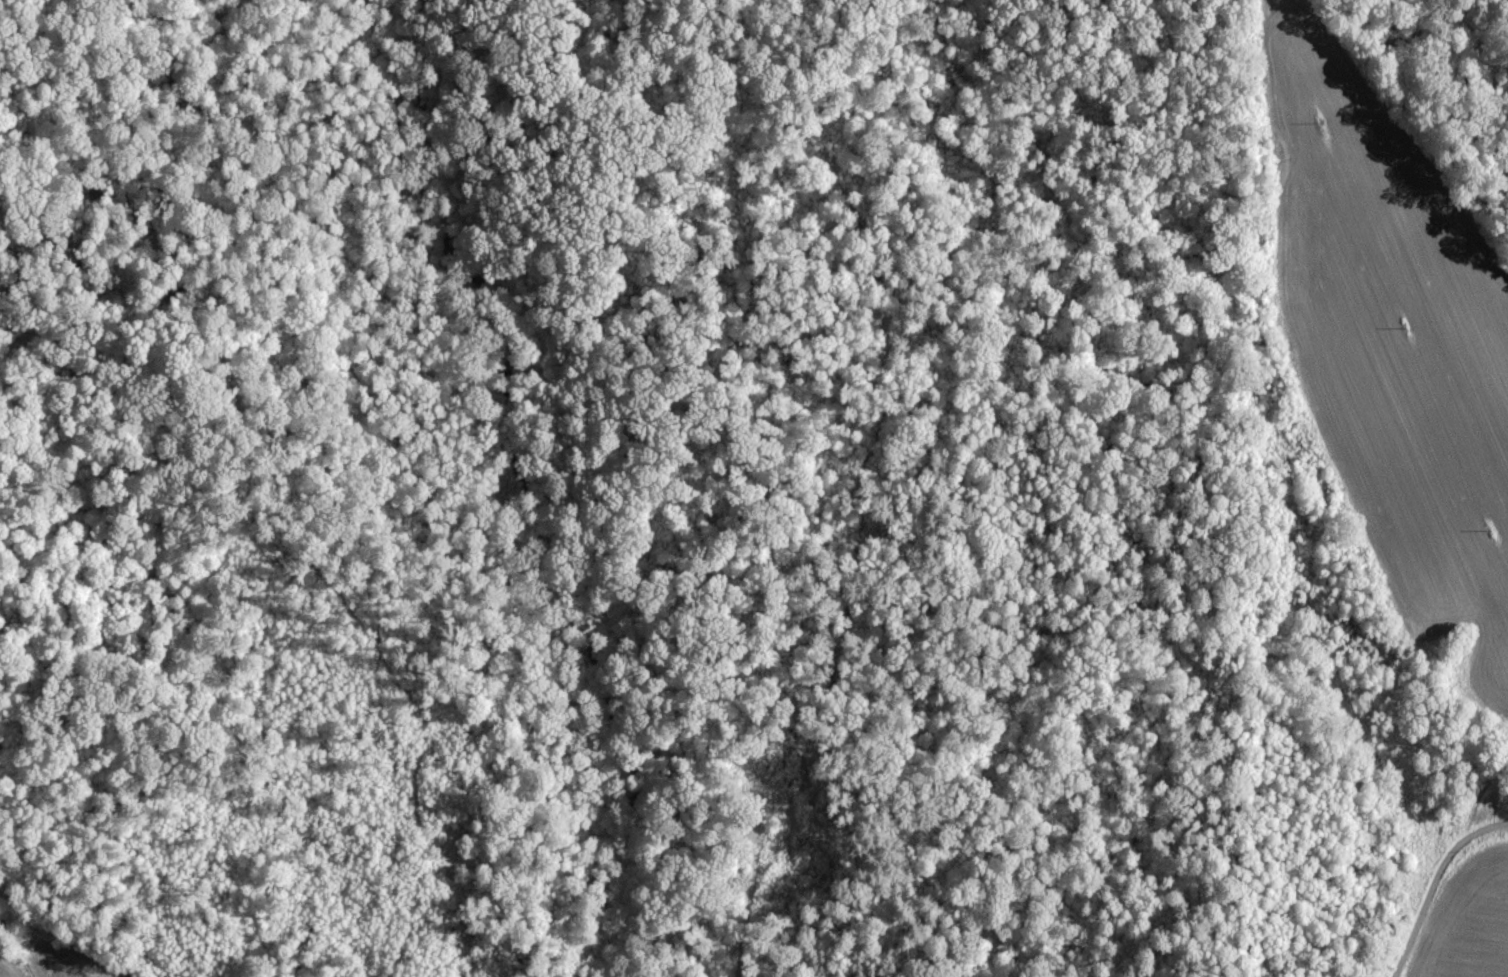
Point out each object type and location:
road: (1440, 888)

